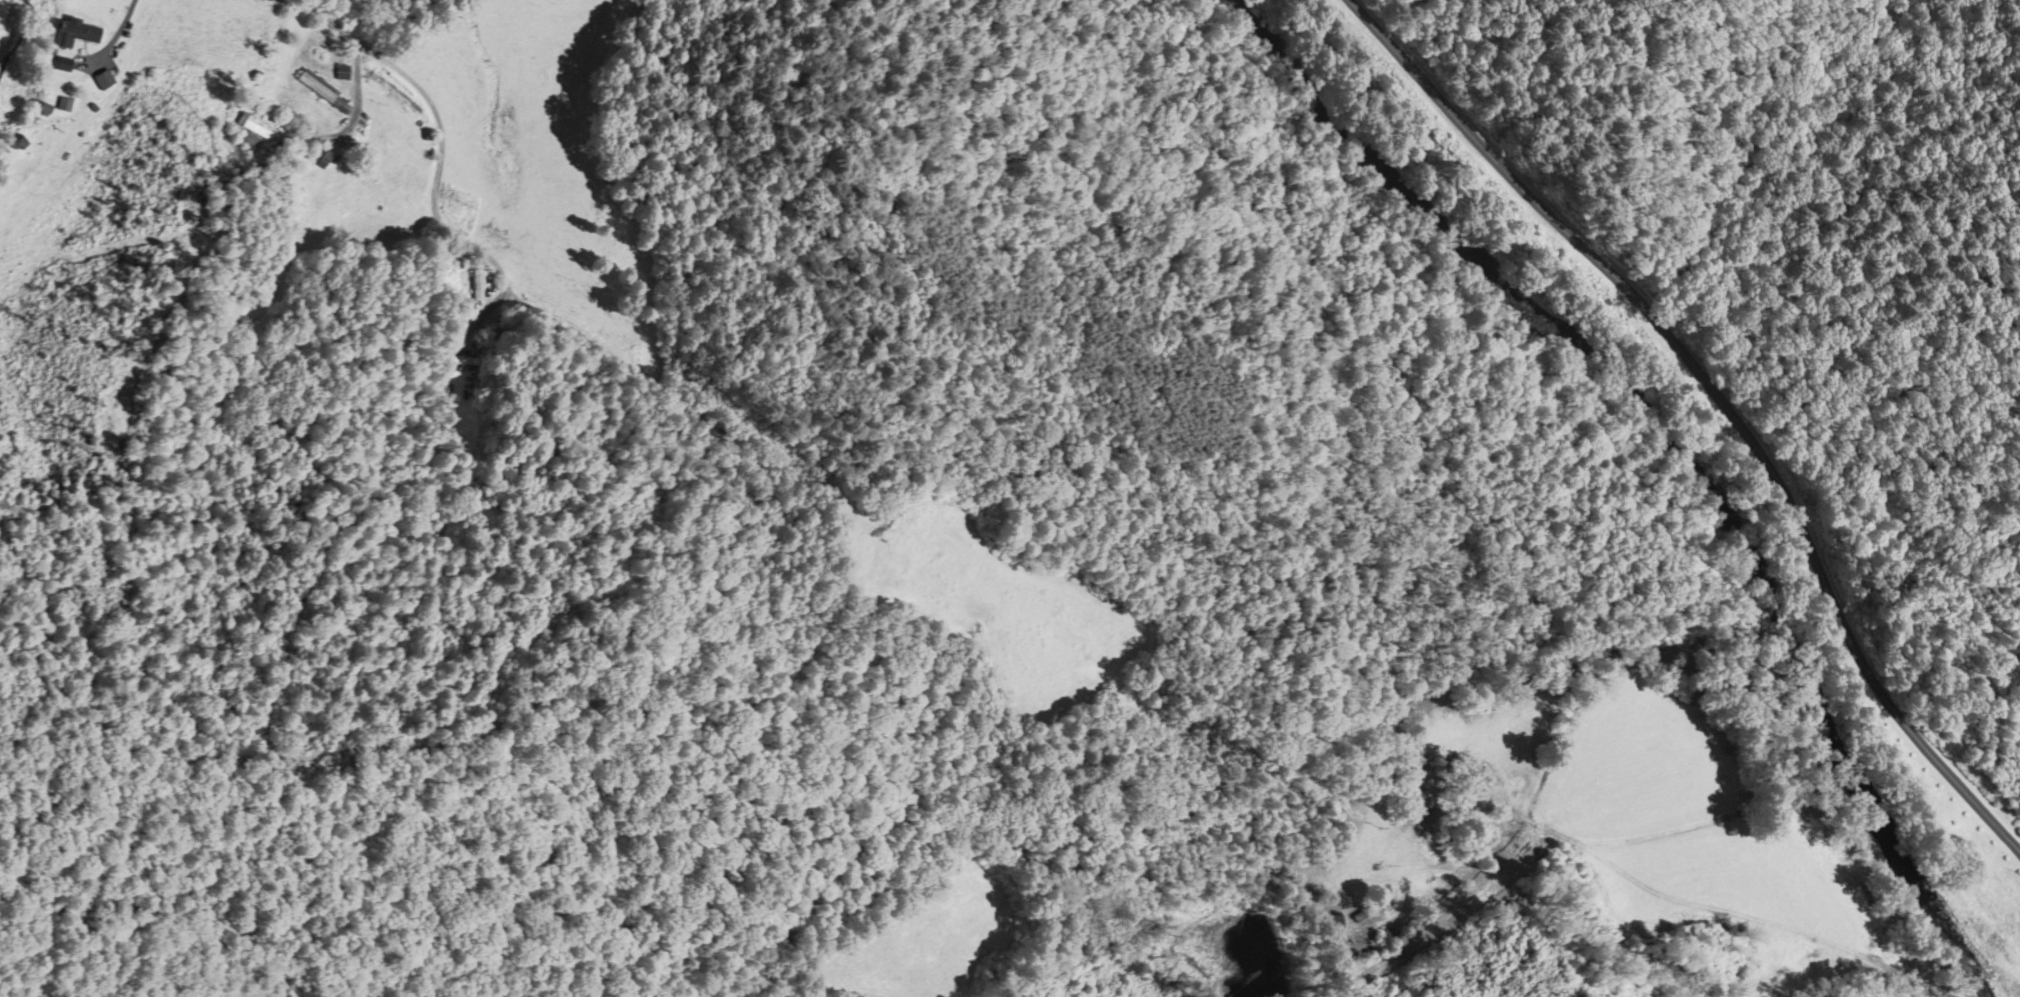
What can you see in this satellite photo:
building: (73, 34)
road: (114, 40)
building: (338, 73)
building: (104, 80)
building: (313, 87)
building: (247, 124)
building: (364, 197)
building: (475, 285)
road: (525, 301)
building: (458, 358)
road: (1723, 397)
building: (1324, 923)

